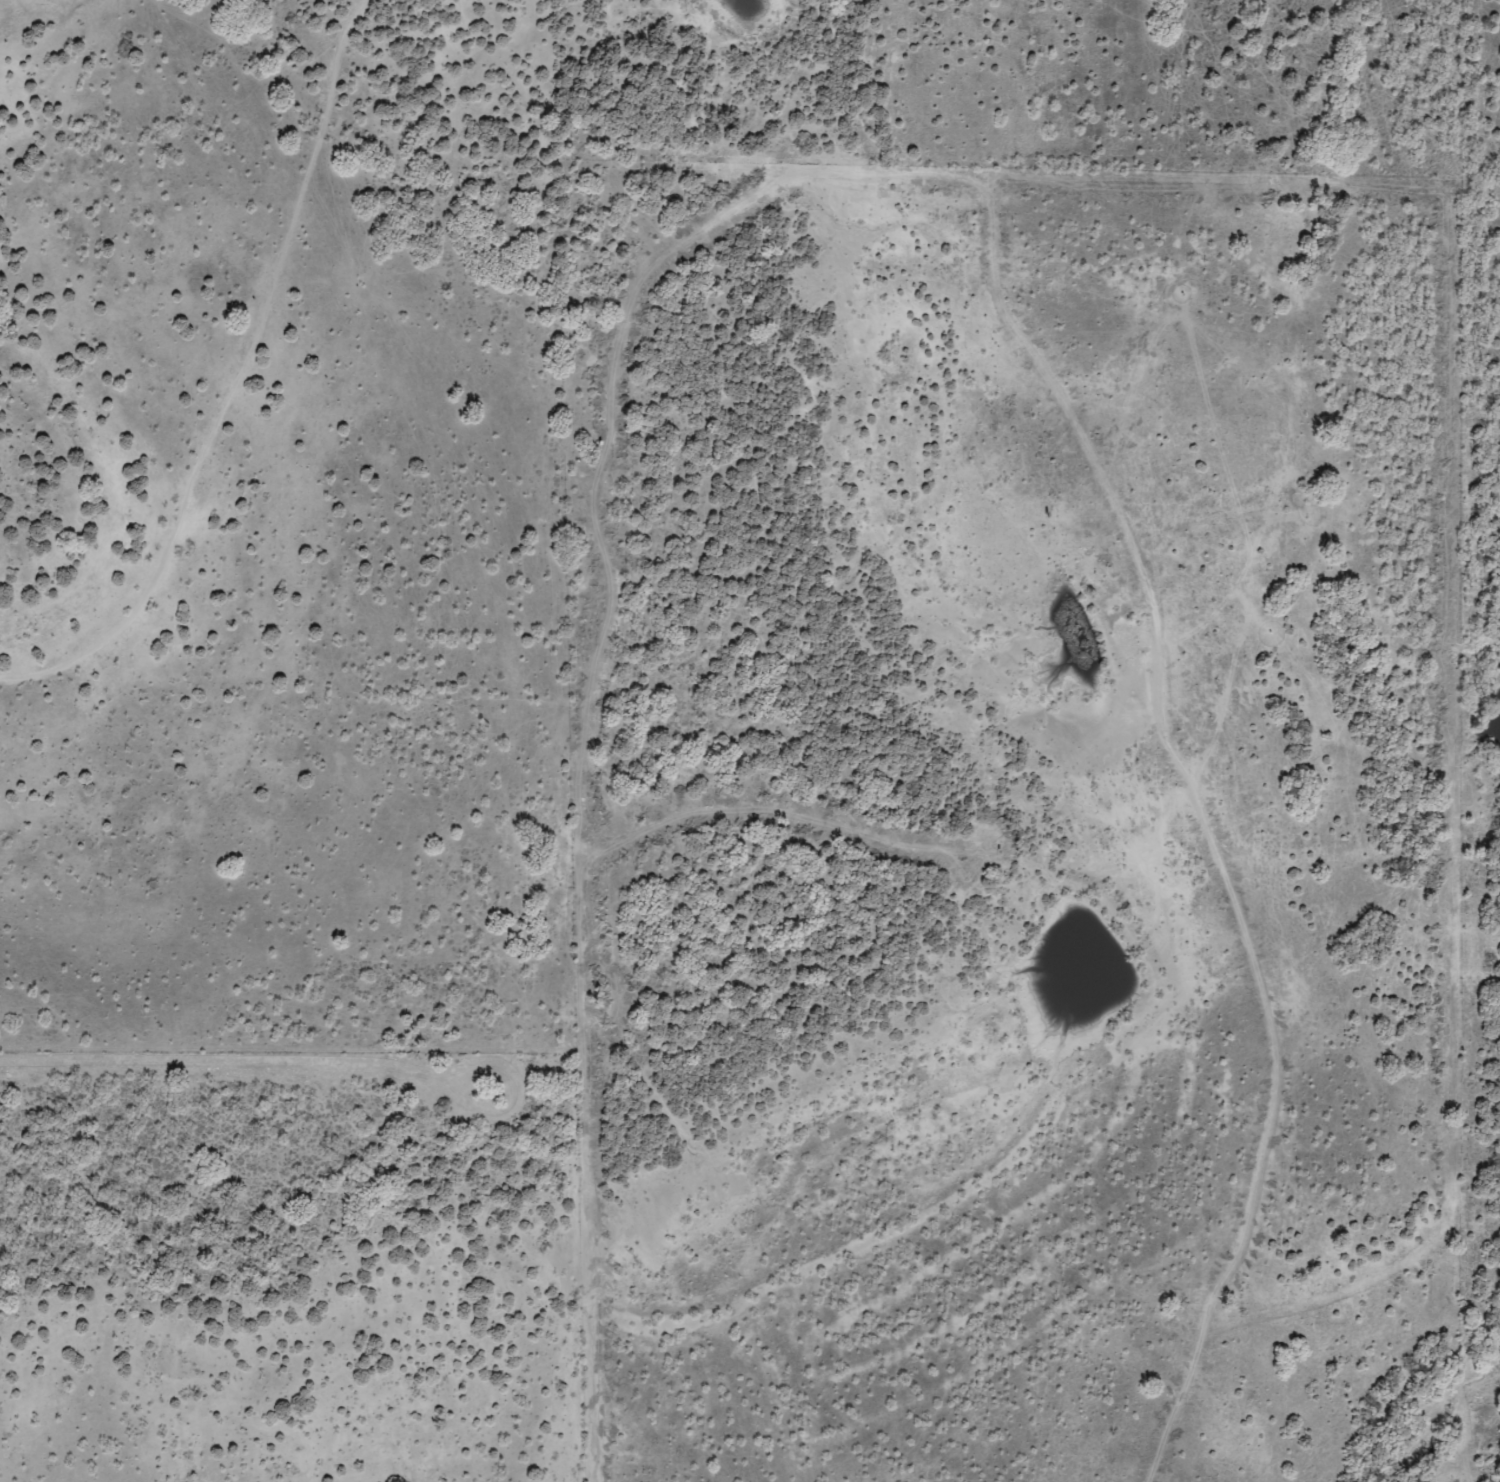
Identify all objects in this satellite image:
road: (248, 404)
road: (1140, 726)

